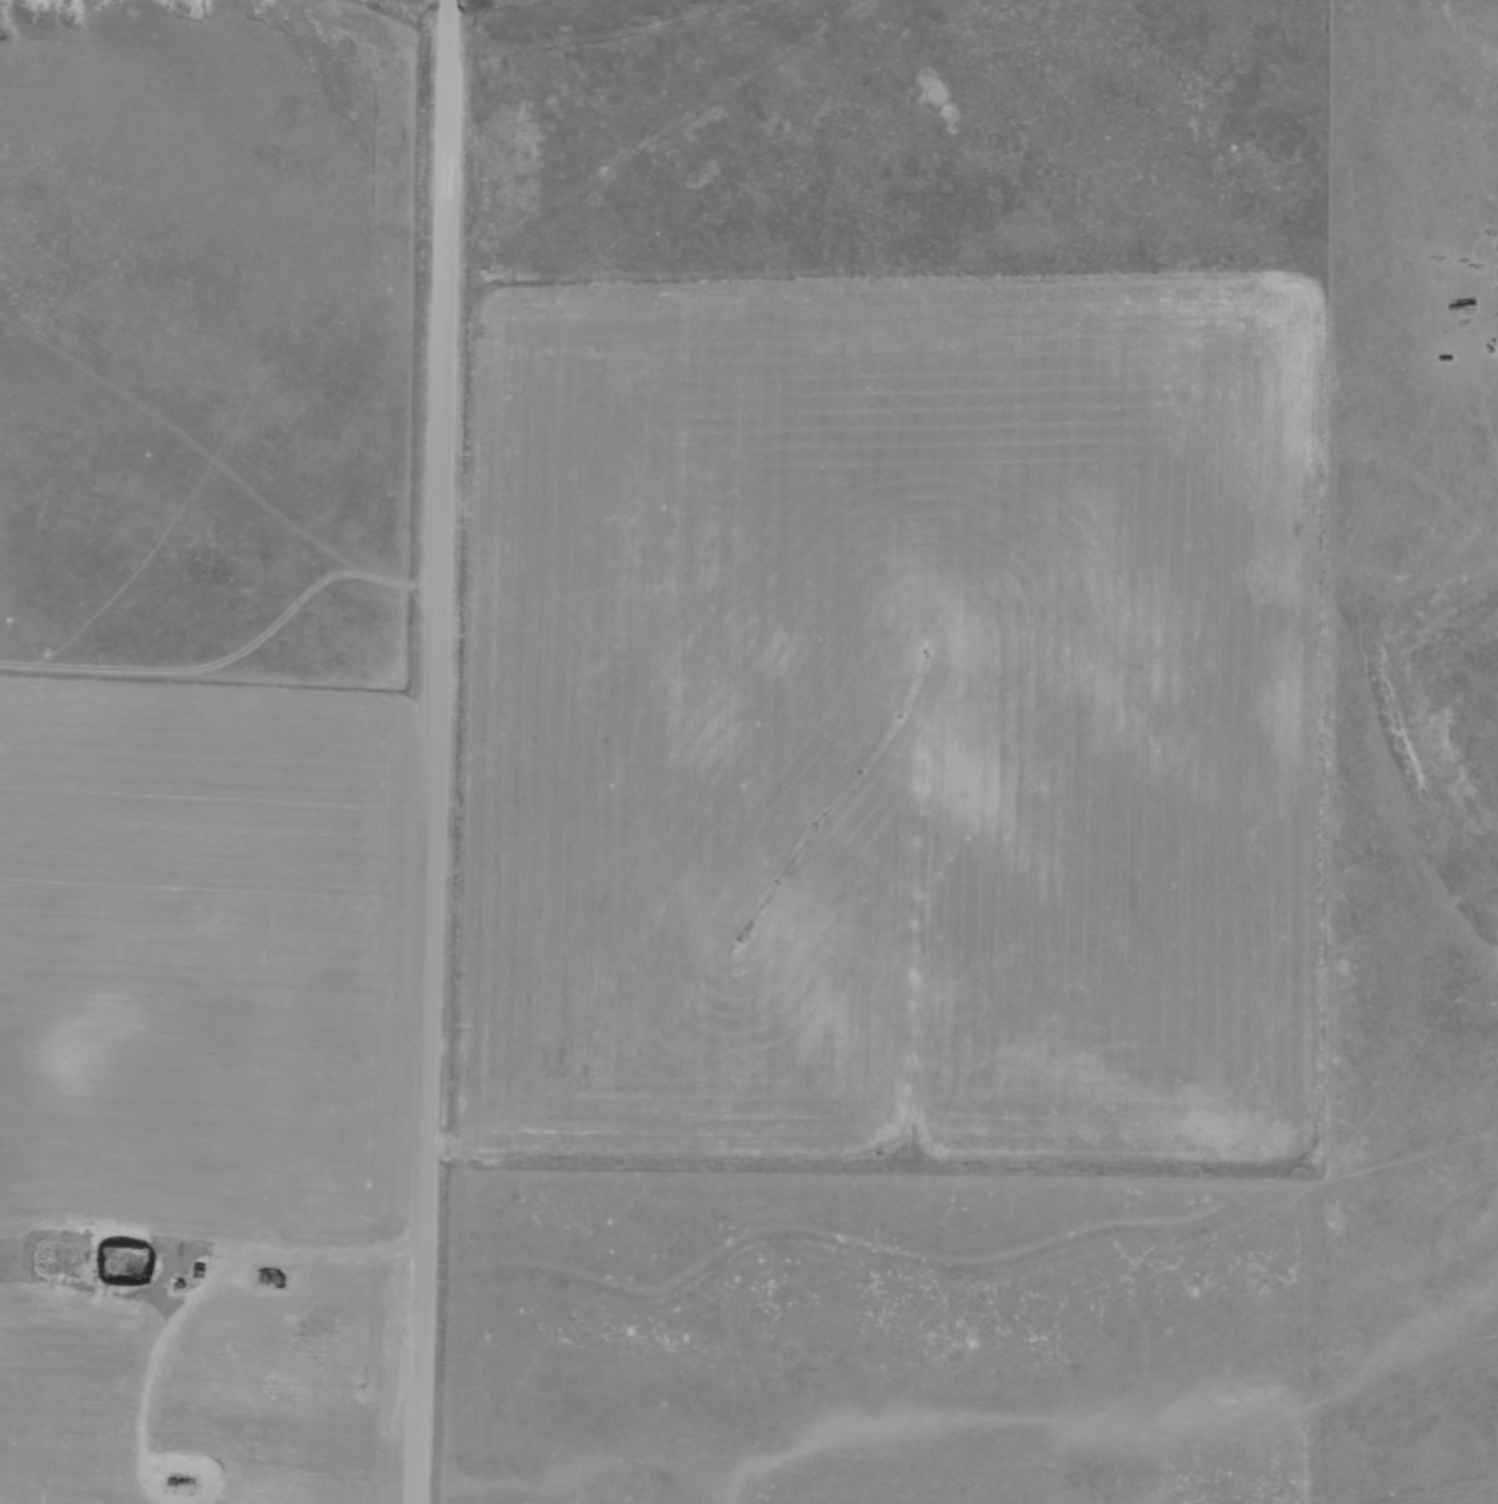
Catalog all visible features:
crop: (897, 722)
road: (438, 752)
building: (198, 1272)
road: (220, 1280)
building: (271, 1282)
storage tank: (271, 1282)
building: (286, 1283)
storage tank: (286, 1283)
road: (168, 1468)
petroleum well: (183, 1484)

